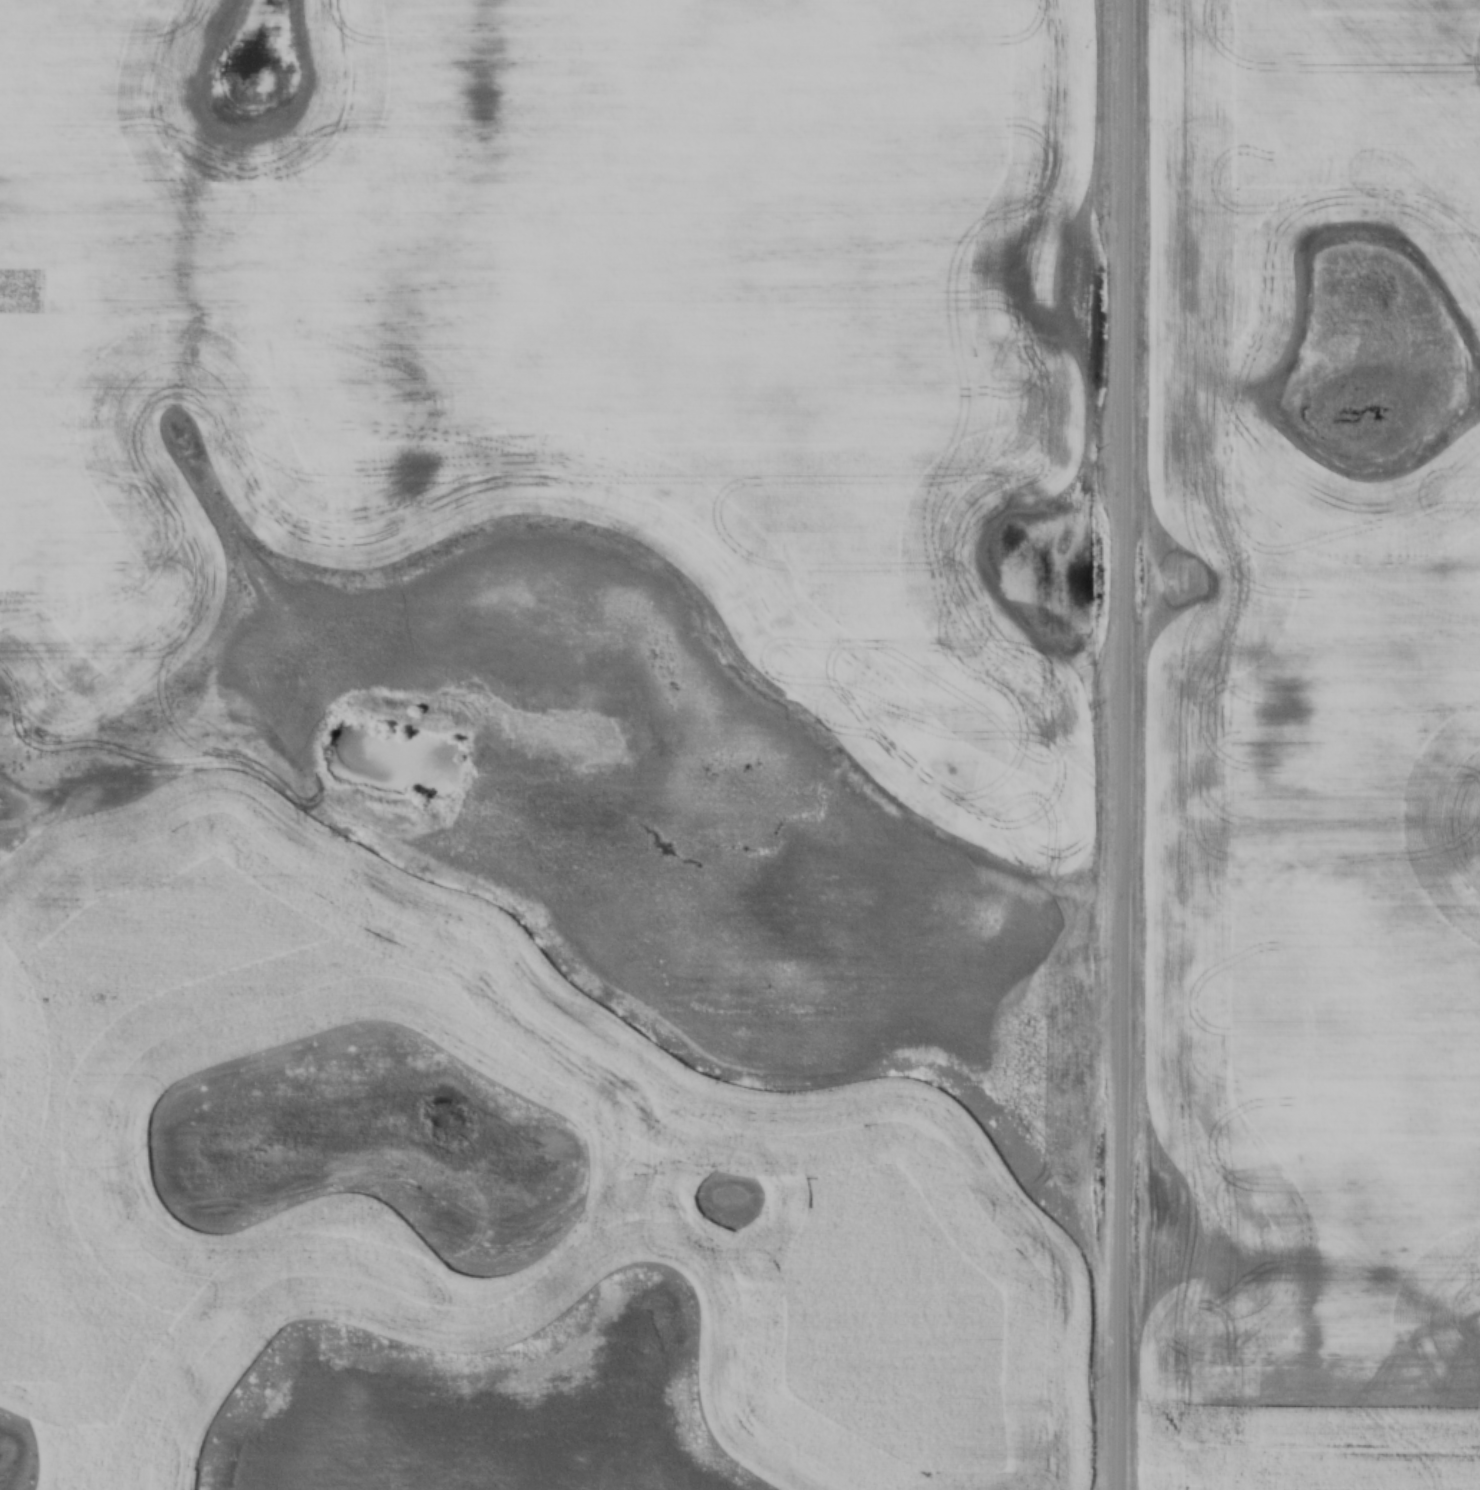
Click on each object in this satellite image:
road: (1123, 745)

